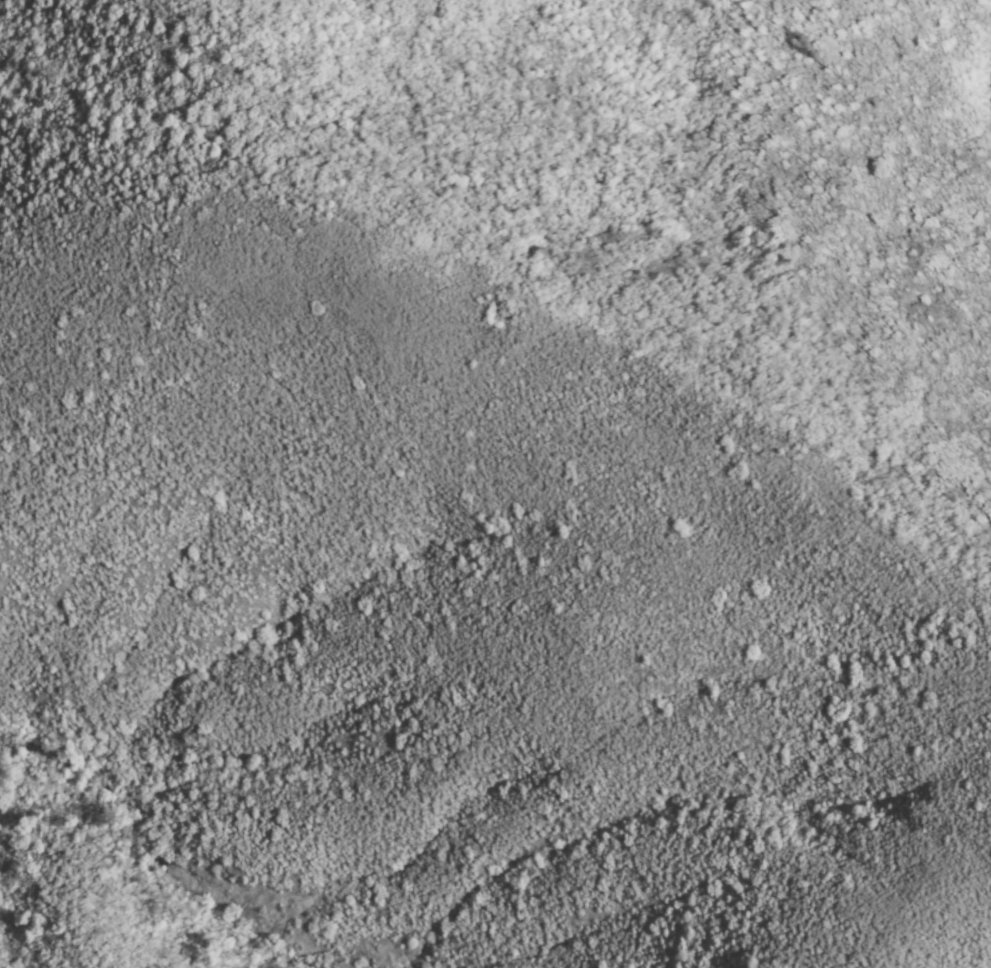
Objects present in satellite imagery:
road: (361, 239)

